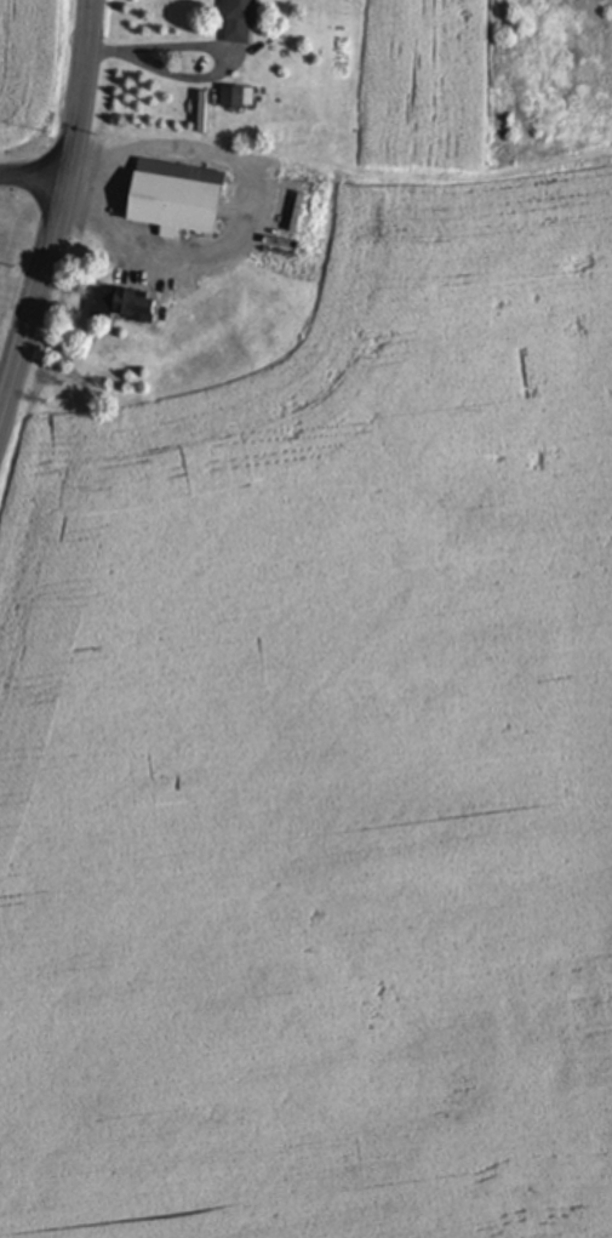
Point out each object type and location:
building: (241, 22)
road: (218, 55)
road: (34, 183)
building: (178, 199)
road: (239, 210)
road: (59, 215)
building: (132, 302)

